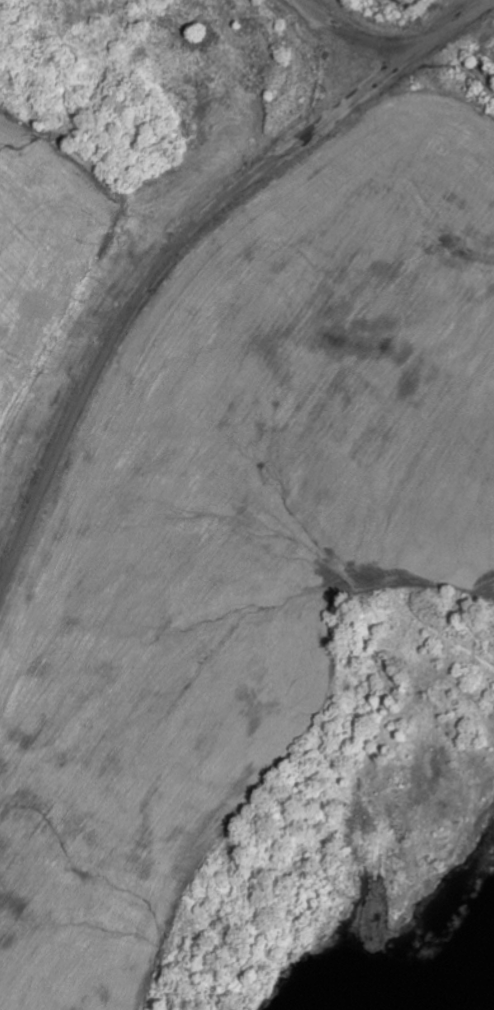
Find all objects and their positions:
road: (387, 63)
road: (145, 283)

